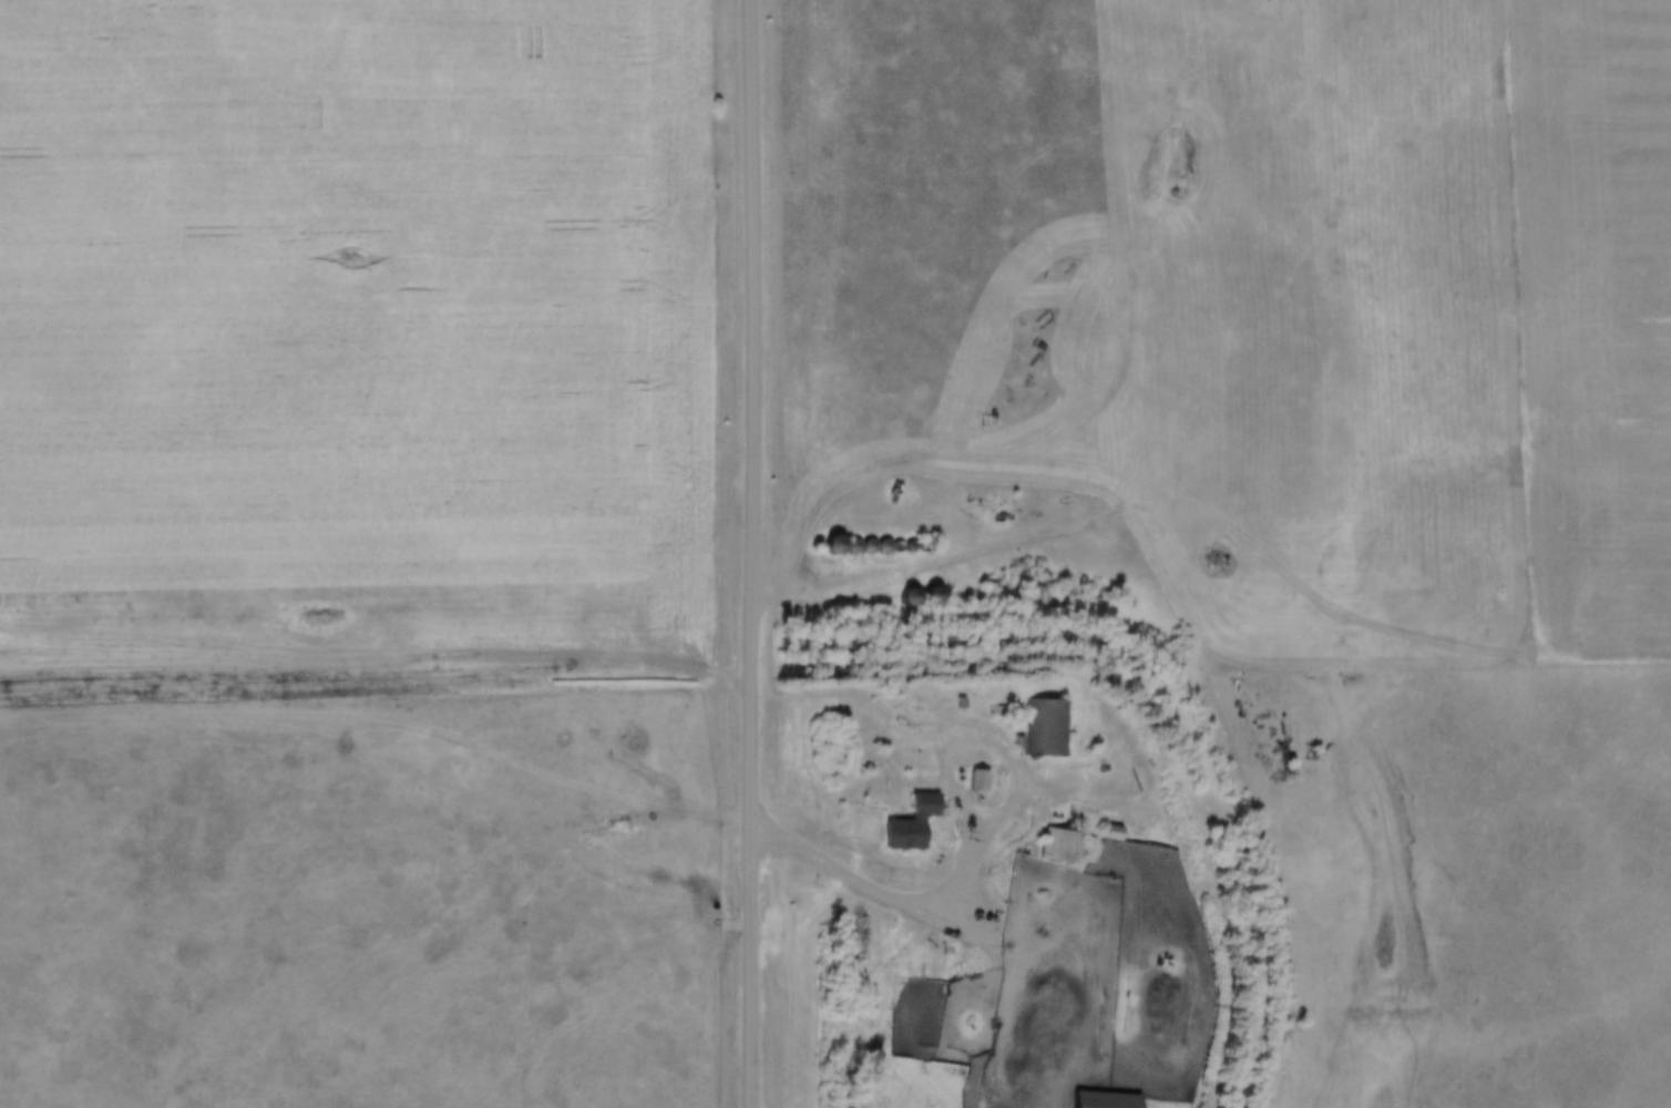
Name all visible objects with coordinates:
road: (1039, 541)
road: (754, 553)
building: (922, 595)
road: (1322, 596)
road: (377, 671)
building: (1047, 728)
building: (973, 781)
building: (902, 823)
road: (990, 829)
building: (1059, 847)
road: (880, 892)
road: (883, 1002)
building: (1097, 1100)

